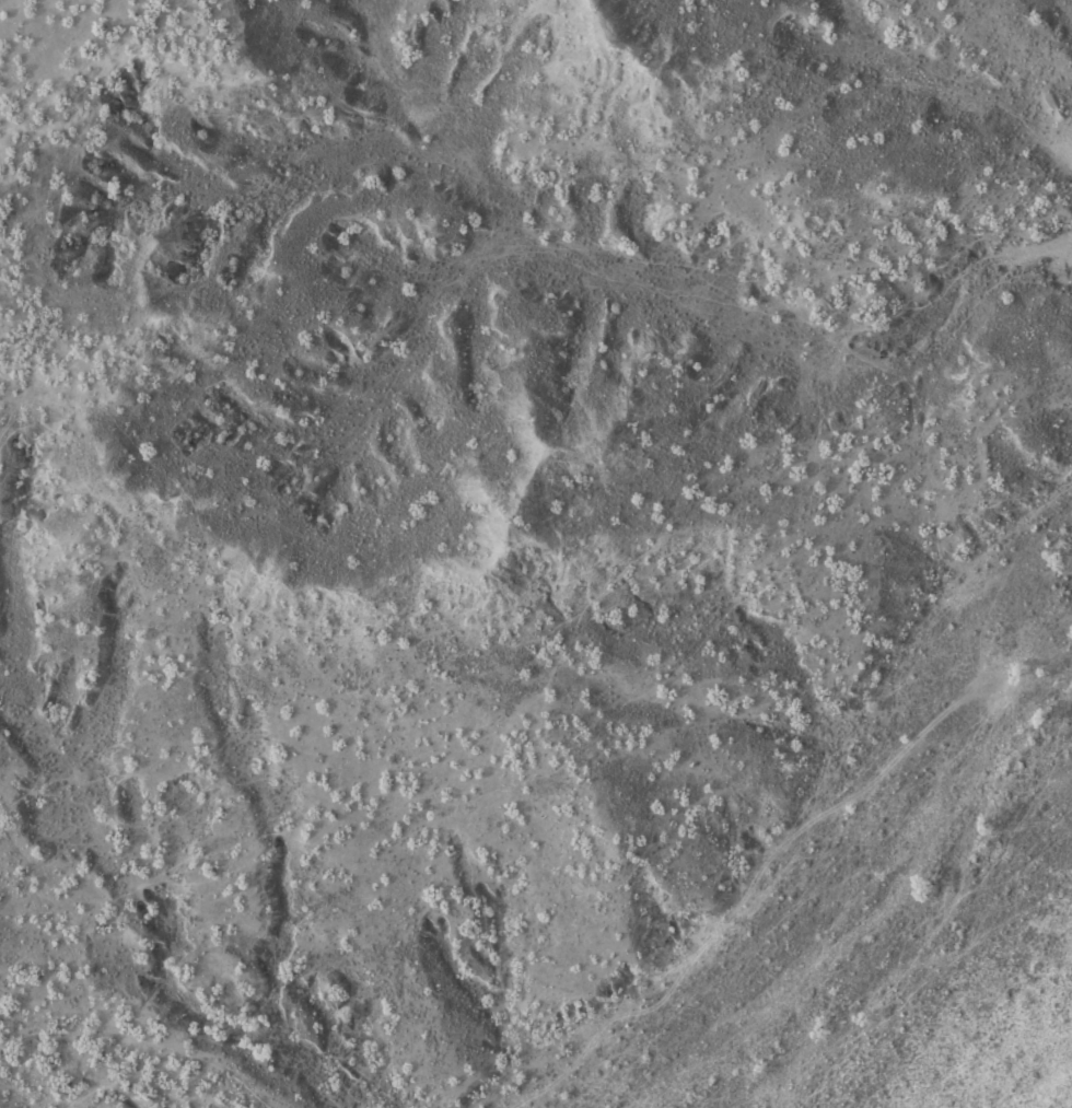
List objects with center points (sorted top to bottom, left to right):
road: (16, 12)
road: (107, 1105)

